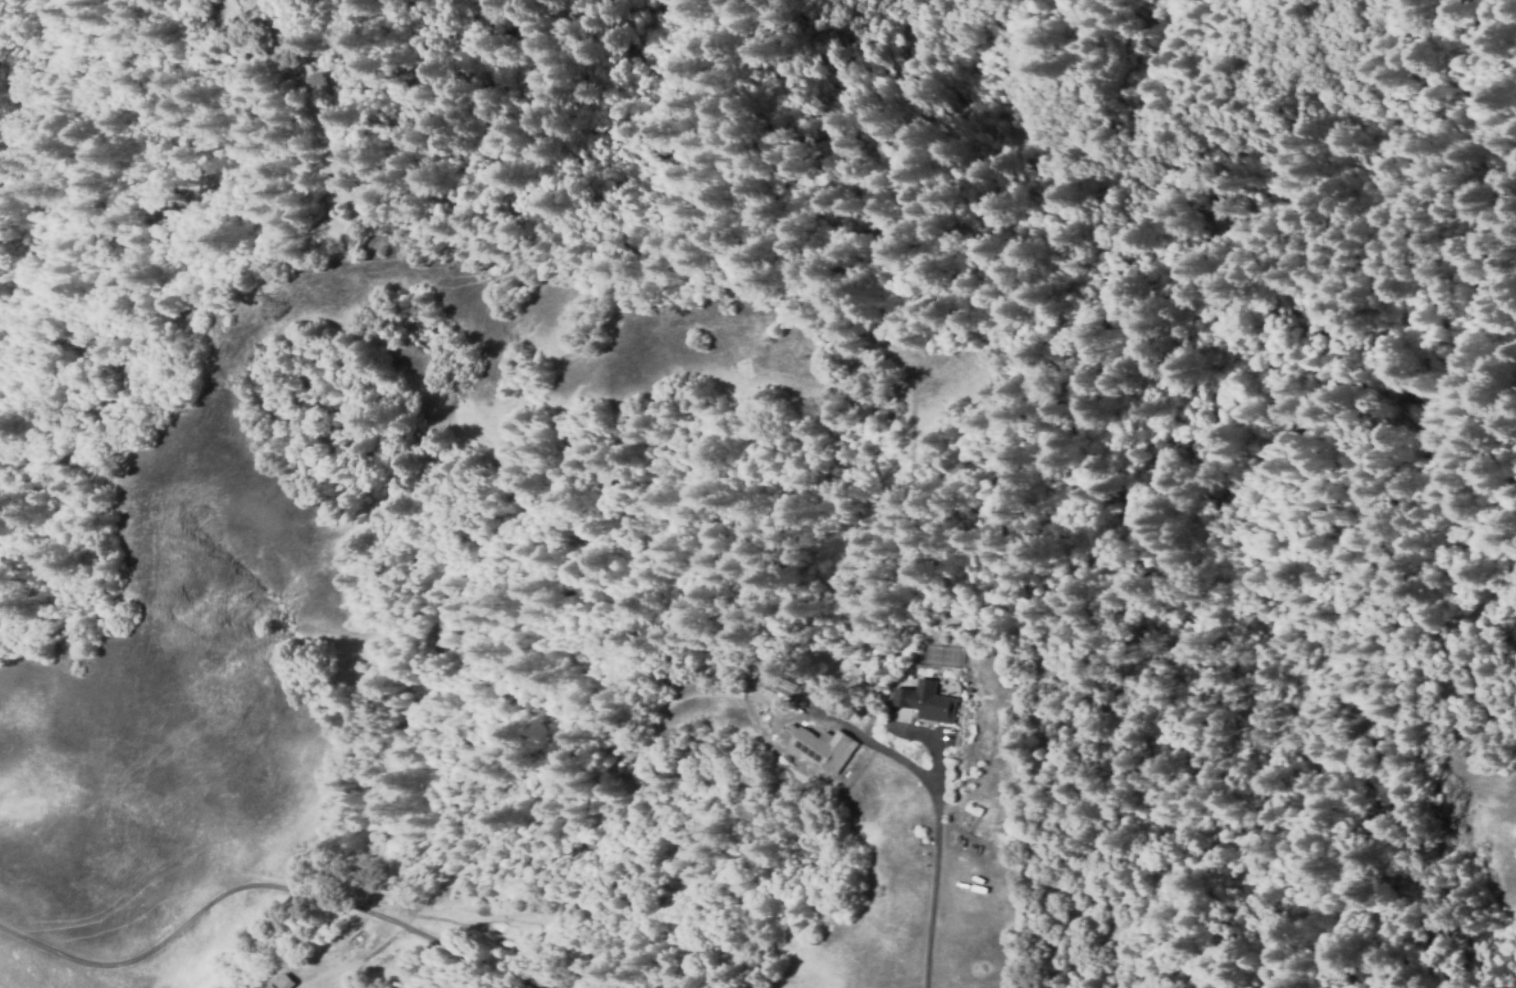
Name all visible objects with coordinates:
building: (321, 81)
building: (310, 92)
building: (781, 685)
building: (925, 705)
building: (821, 747)
road: (937, 871)
building: (280, 982)

